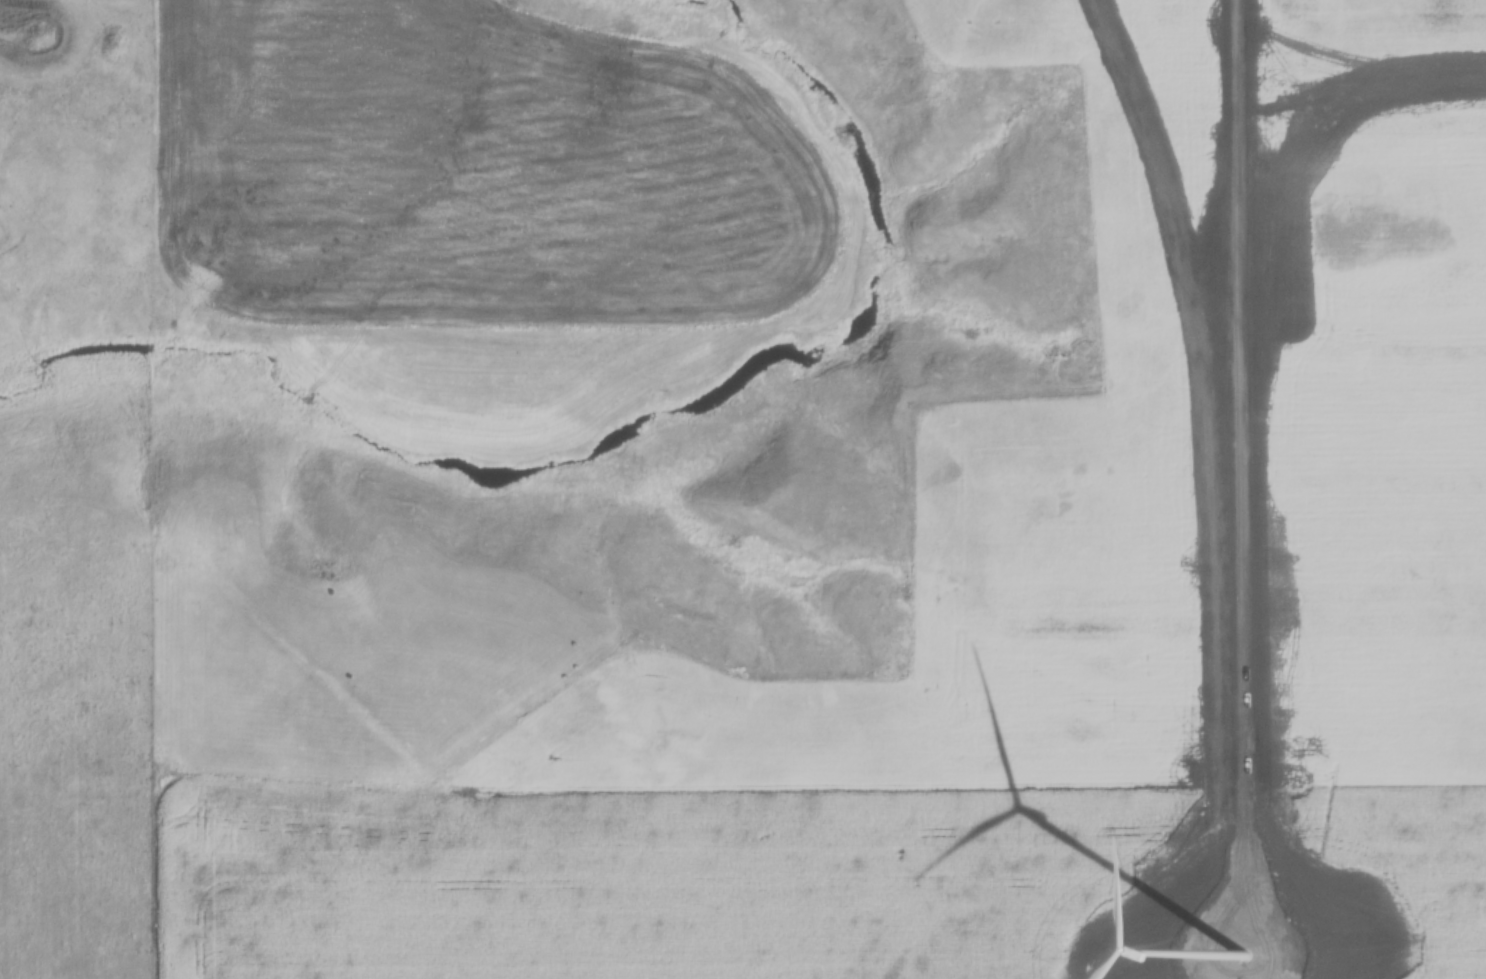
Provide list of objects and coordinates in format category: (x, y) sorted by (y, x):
wind turbine: (1243, 955)

